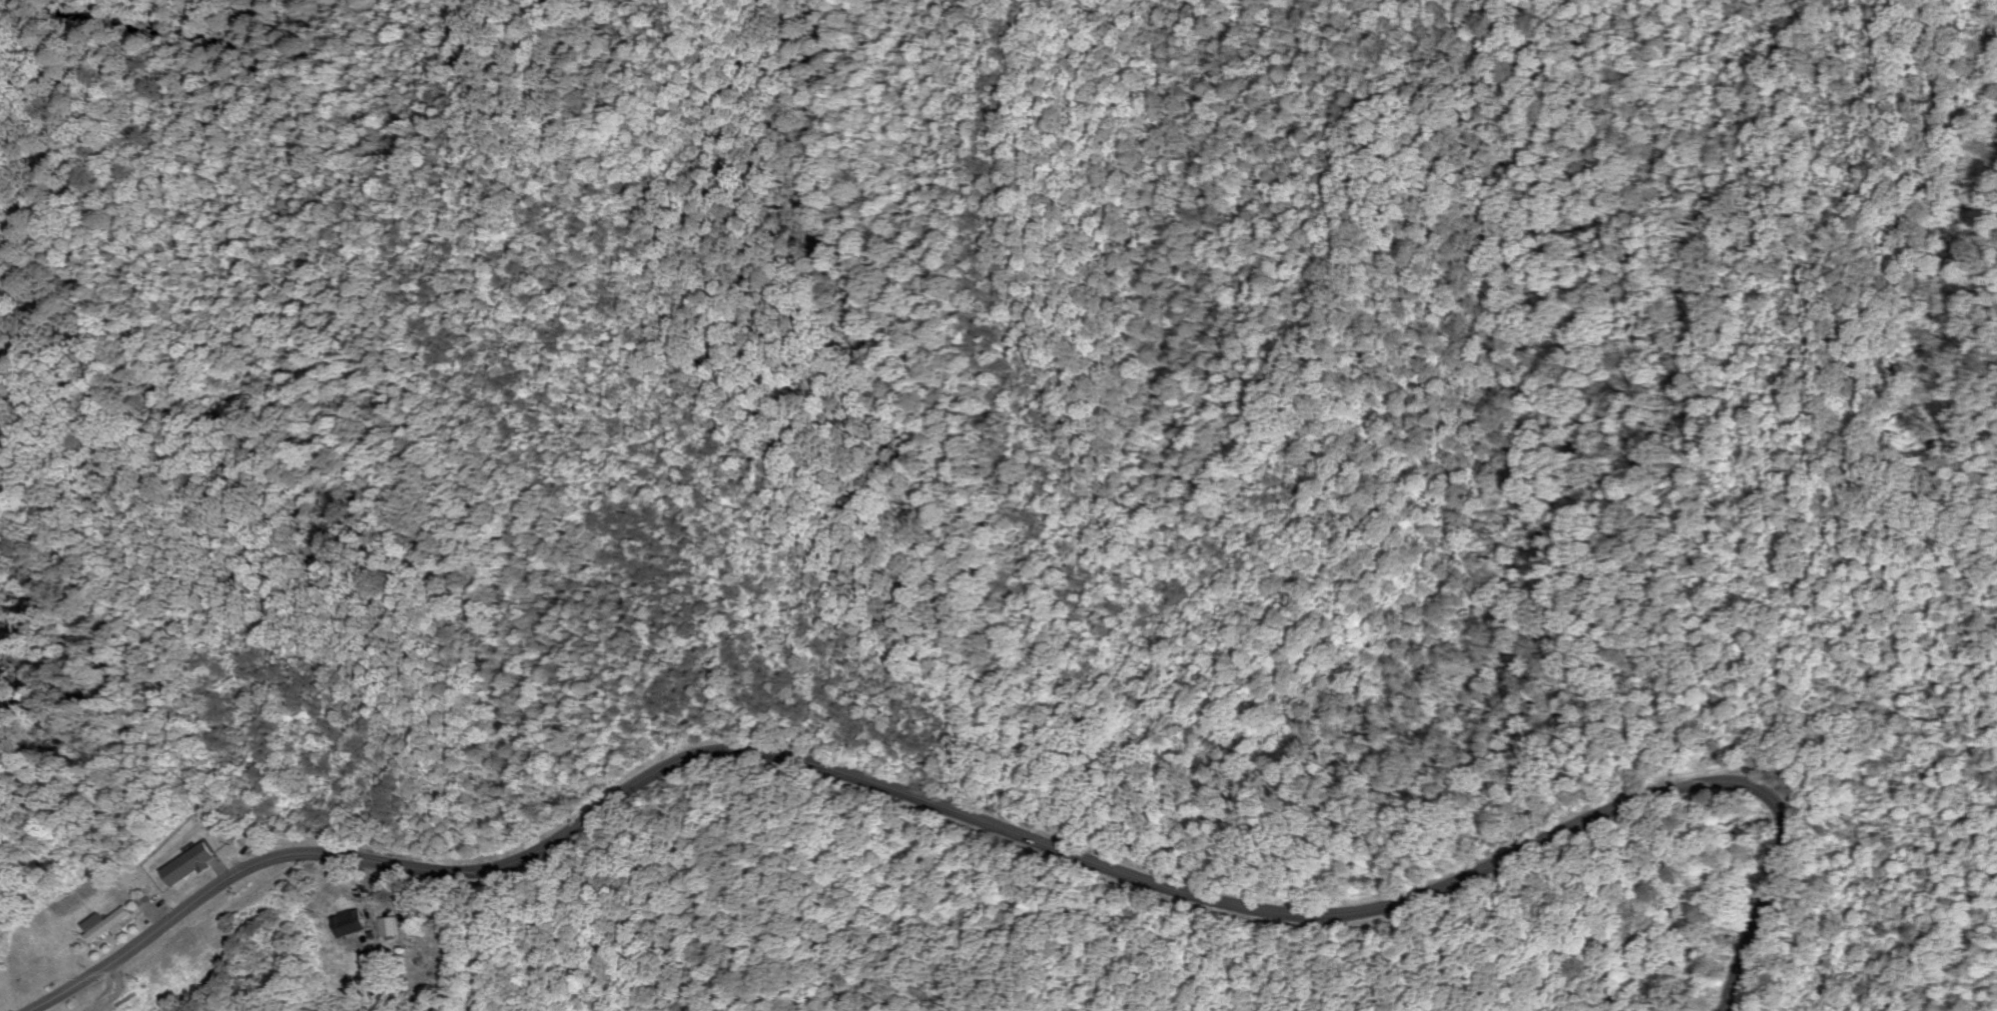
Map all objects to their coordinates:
road: (994, 827)
building: (190, 866)
road: (432, 918)
building: (372, 922)
building: (349, 924)
building: (108, 925)
building: (391, 928)

